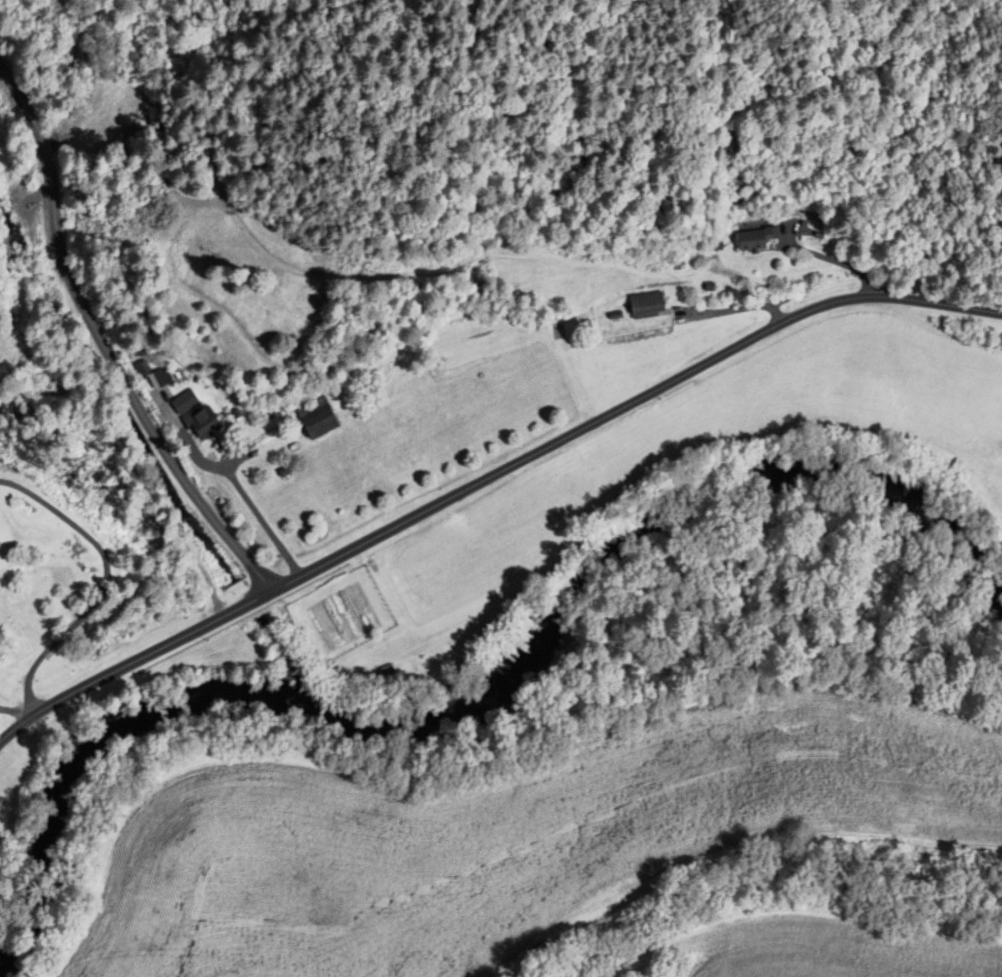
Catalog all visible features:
building: (19, 183)
building: (650, 305)
building: (482, 336)
building: (464, 338)
road: (102, 344)
building: (149, 375)
building: (192, 414)
building: (324, 425)
road: (489, 476)
road: (106, 583)
river: (487, 699)

